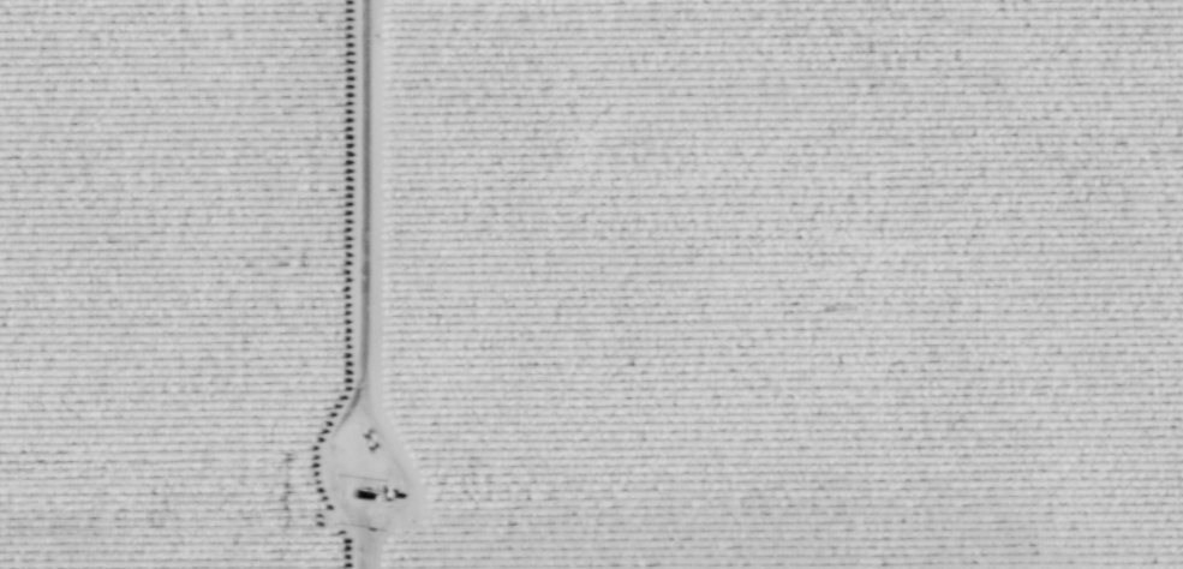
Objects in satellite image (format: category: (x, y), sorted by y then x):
road: (363, 549)

